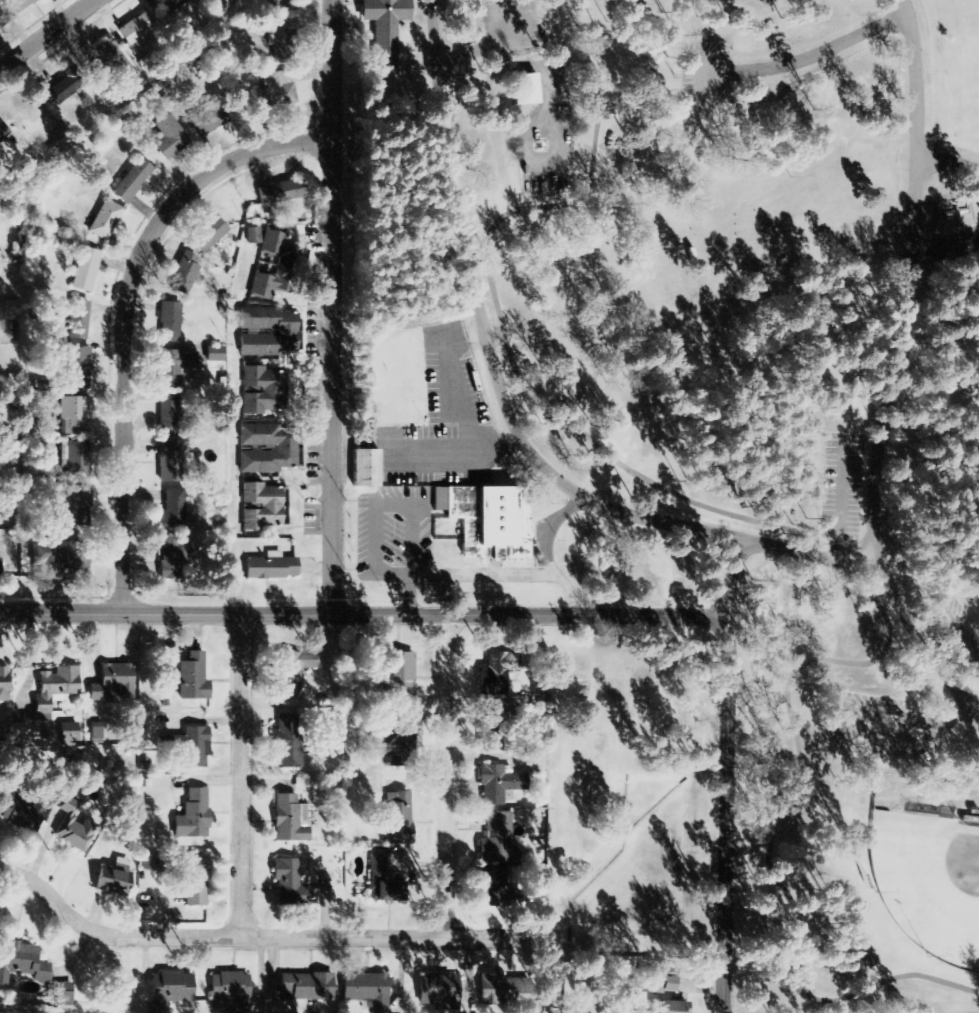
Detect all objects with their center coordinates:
building: (19, 5)
building: (289, 8)
building: (4, 15)
building: (387, 27)
building: (137, 30)
road: (44, 32)
building: (286, 45)
road: (821, 47)
building: (111, 65)
building: (69, 85)
building: (523, 90)
building: (274, 95)
building: (211, 121)
building: (3, 133)
building: (169, 138)
road: (947, 161)
building: (132, 181)
building: (280, 193)
building: (105, 221)
building: (252, 235)
building: (206, 236)
building: (277, 267)
building: (85, 270)
building: (184, 274)
road: (902, 281)
road: (327, 305)
building: (10, 308)
road: (123, 315)
building: (77, 320)
building: (168, 324)
road: (503, 325)
building: (285, 332)
building: (214, 355)
building: (78, 367)
building: (173, 367)
building: (260, 391)
park: (701, 407)
building: (75, 415)
building: (169, 415)
building: (286, 448)
building: (77, 461)
building: (170, 461)
building: (363, 468)
road: (553, 476)
building: (78, 506)
building: (260, 507)
building: (173, 510)
building: (489, 521)
building: (61, 560)
building: (170, 560)
building: (0, 566)
building: (269, 569)
road: (164, 612)
road: (370, 612)
road: (562, 613)
building: (292, 673)
building: (399, 676)
building: (112, 682)
building: (192, 682)
building: (3, 686)
building: (56, 686)
building: (495, 728)
building: (69, 732)
building: (286, 741)
building: (403, 741)
building: (194, 747)
building: (86, 761)
road: (241, 771)
road: (444, 774)
building: (497, 784)
building: (302, 785)
road: (784, 807)
road: (725, 813)
building: (21, 815)
building: (193, 815)
building: (397, 818)
building: (290, 820)
building: (73, 836)
building: (498, 840)
building: (194, 879)
park: (929, 881)
building: (380, 883)
building: (289, 884)
road: (264, 930)
building: (20, 963)
building: (667, 984)
building: (61, 987)
building: (306, 987)
building: (169, 990)
building: (365, 990)
building: (436, 991)
building: (229, 992)
building: (62, 1001)
building: (670, 1007)

